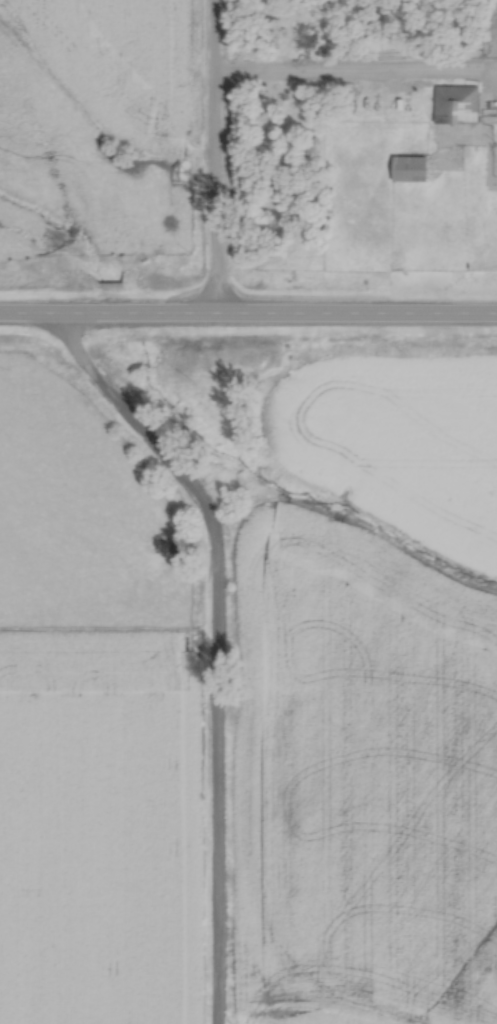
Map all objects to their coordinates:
building: (456, 107)
road: (210, 157)
building: (411, 164)
road: (248, 314)
road: (208, 642)

